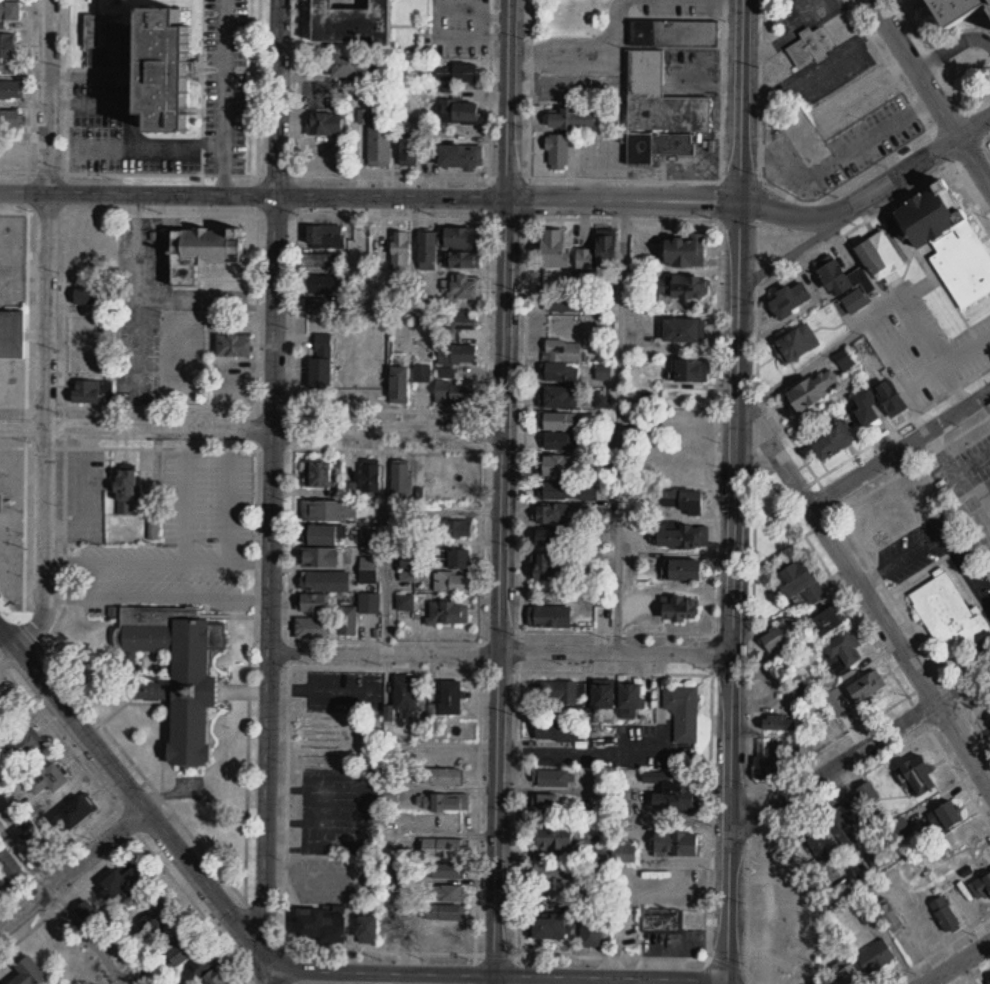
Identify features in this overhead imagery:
building: (12, 9)
building: (953, 10)
building: (356, 21)
road: (792, 28)
building: (673, 33)
building: (106, 41)
building: (9, 44)
road: (584, 47)
building: (808, 47)
road: (952, 48)
building: (356, 64)
building: (176, 67)
road: (914, 67)
building: (460, 71)
road: (24, 74)
road: (81, 74)
building: (12, 90)
road: (227, 96)
road: (510, 98)
building: (659, 112)
building: (462, 113)
building: (12, 115)
building: (570, 118)
building: (329, 123)
road: (973, 125)
road: (131, 131)
road: (935, 137)
road: (742, 143)
building: (382, 146)
building: (413, 150)
building: (556, 151)
building: (465, 156)
building: (11, 158)
road: (973, 161)
road: (904, 174)
road: (603, 177)
road: (254, 193)
road: (488, 196)
road: (624, 199)
road: (795, 216)
building: (324, 236)
building: (458, 237)
building: (946, 241)
building: (426, 247)
road: (795, 248)
building: (551, 249)
building: (209, 251)
building: (400, 251)
building: (682, 252)
building: (597, 255)
building: (321, 259)
building: (456, 260)
building: (861, 272)
building: (328, 284)
building: (680, 287)
building: (462, 289)
building: (563, 293)
building: (89, 295)
building: (787, 299)
road: (804, 307)
building: (321, 308)
building: (463, 321)
road: (64, 326)
road: (46, 328)
building: (682, 330)
building: (12, 331)
road: (257, 337)
building: (795, 343)
building: (237, 345)
road: (935, 350)
road: (825, 353)
building: (458, 354)
building: (845, 361)
building: (320, 362)
building: (688, 370)
building: (421, 373)
building: (447, 373)
building: (603, 373)
building: (231, 383)
building: (365, 383)
building: (398, 385)
building: (96, 391)
building: (809, 391)
building: (555, 394)
building: (453, 397)
building: (888, 398)
building: (864, 410)
building: (557, 418)
road: (484, 420)
road: (619, 425)
road: (252, 426)
building: (562, 442)
building: (829, 442)
road: (899, 446)
building: (557, 462)
building: (318, 475)
building: (399, 478)
building: (369, 479)
building: (131, 491)
building: (561, 491)
road: (272, 492)
road: (185, 493)
road: (231, 494)
building: (682, 501)
building: (328, 511)
building: (557, 514)
road: (832, 514)
building: (452, 529)
building: (318, 535)
building: (679, 537)
building: (553, 539)
road: (388, 540)
building: (321, 558)
road: (137, 560)
building: (454, 560)
road: (250, 562)
building: (552, 567)
building: (367, 571)
building: (682, 571)
building: (324, 582)
building: (453, 583)
road: (501, 584)
building: (798, 584)
road: (863, 588)
road: (157, 595)
building: (404, 603)
building: (311, 604)
building: (676, 610)
road: (712, 610)
building: (448, 613)
building: (549, 613)
building: (357, 614)
building: (948, 617)
building: (824, 622)
building: (310, 629)
building: (780, 634)
road: (735, 635)
building: (842, 650)
road: (502, 651)
road: (965, 655)
road: (291, 664)
road: (595, 670)
road: (752, 678)
road: (897, 678)
building: (157, 691)
building: (558, 693)
building: (801, 693)
building: (856, 696)
building: (404, 697)
building: (601, 697)
building: (629, 697)
road: (976, 698)
building: (447, 700)
building: (683, 712)
building: (988, 718)
building: (778, 721)
road: (976, 728)
building: (558, 736)
road: (122, 748)
road: (859, 749)
building: (439, 757)
building: (776, 757)
road: (612, 761)
road: (799, 763)
building: (439, 773)
building: (914, 775)
building: (50, 778)
building: (550, 778)
road: (839, 786)
road: (130, 789)
road: (104, 791)
building: (674, 794)
building: (443, 799)
building: (546, 803)
building: (623, 803)
road: (709, 807)
building: (79, 813)
building: (947, 814)
building: (443, 823)
building: (902, 829)
building: (845, 831)
building: (30, 833)
building: (551, 837)
road: (133, 842)
building: (815, 842)
building: (441, 844)
building: (675, 844)
building: (622, 853)
road: (25, 856)
building: (12, 864)
road: (72, 868)
building: (444, 868)
building: (396, 869)
building: (554, 874)
building: (3, 885)
building: (126, 885)
building: (980, 886)
building: (847, 888)
building: (444, 890)
road: (516, 906)
building: (445, 909)
building: (90, 913)
building: (943, 913)
building: (162, 916)
building: (888, 916)
building: (660, 921)
building: (318, 926)
building: (545, 926)
building: (366, 930)
building: (591, 932)
road: (90, 935)
road: (690, 942)
building: (66, 948)
building: (190, 949)
road: (936, 950)
building: (875, 957)
road: (653, 960)
road: (956, 962)
road: (376, 970)
building: (213, 971)
building: (32, 972)
building: (847, 972)
road: (975, 974)
road: (611, 975)
road: (495, 978)
road: (652, 980)
road: (124, 981)
road: (727, 983)

